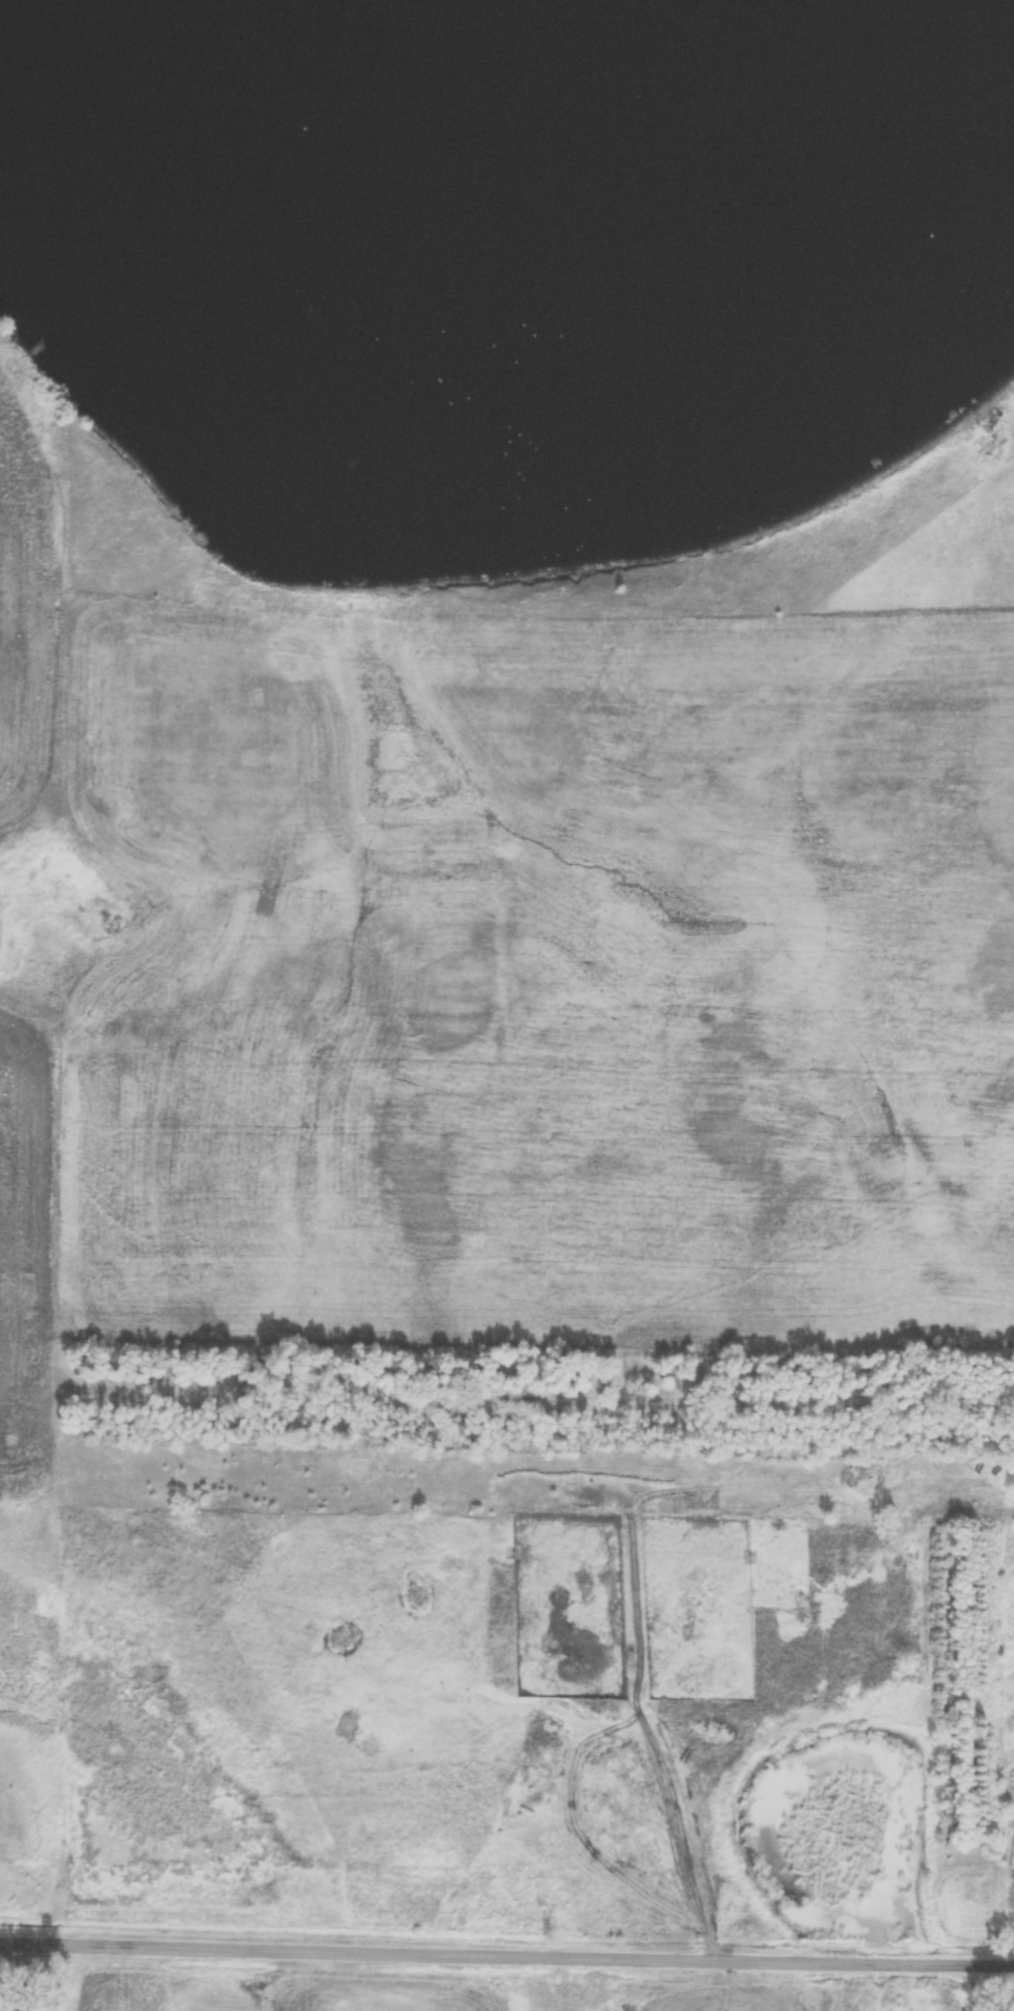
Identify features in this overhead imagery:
road: (469, 1958)
road: (976, 1966)

